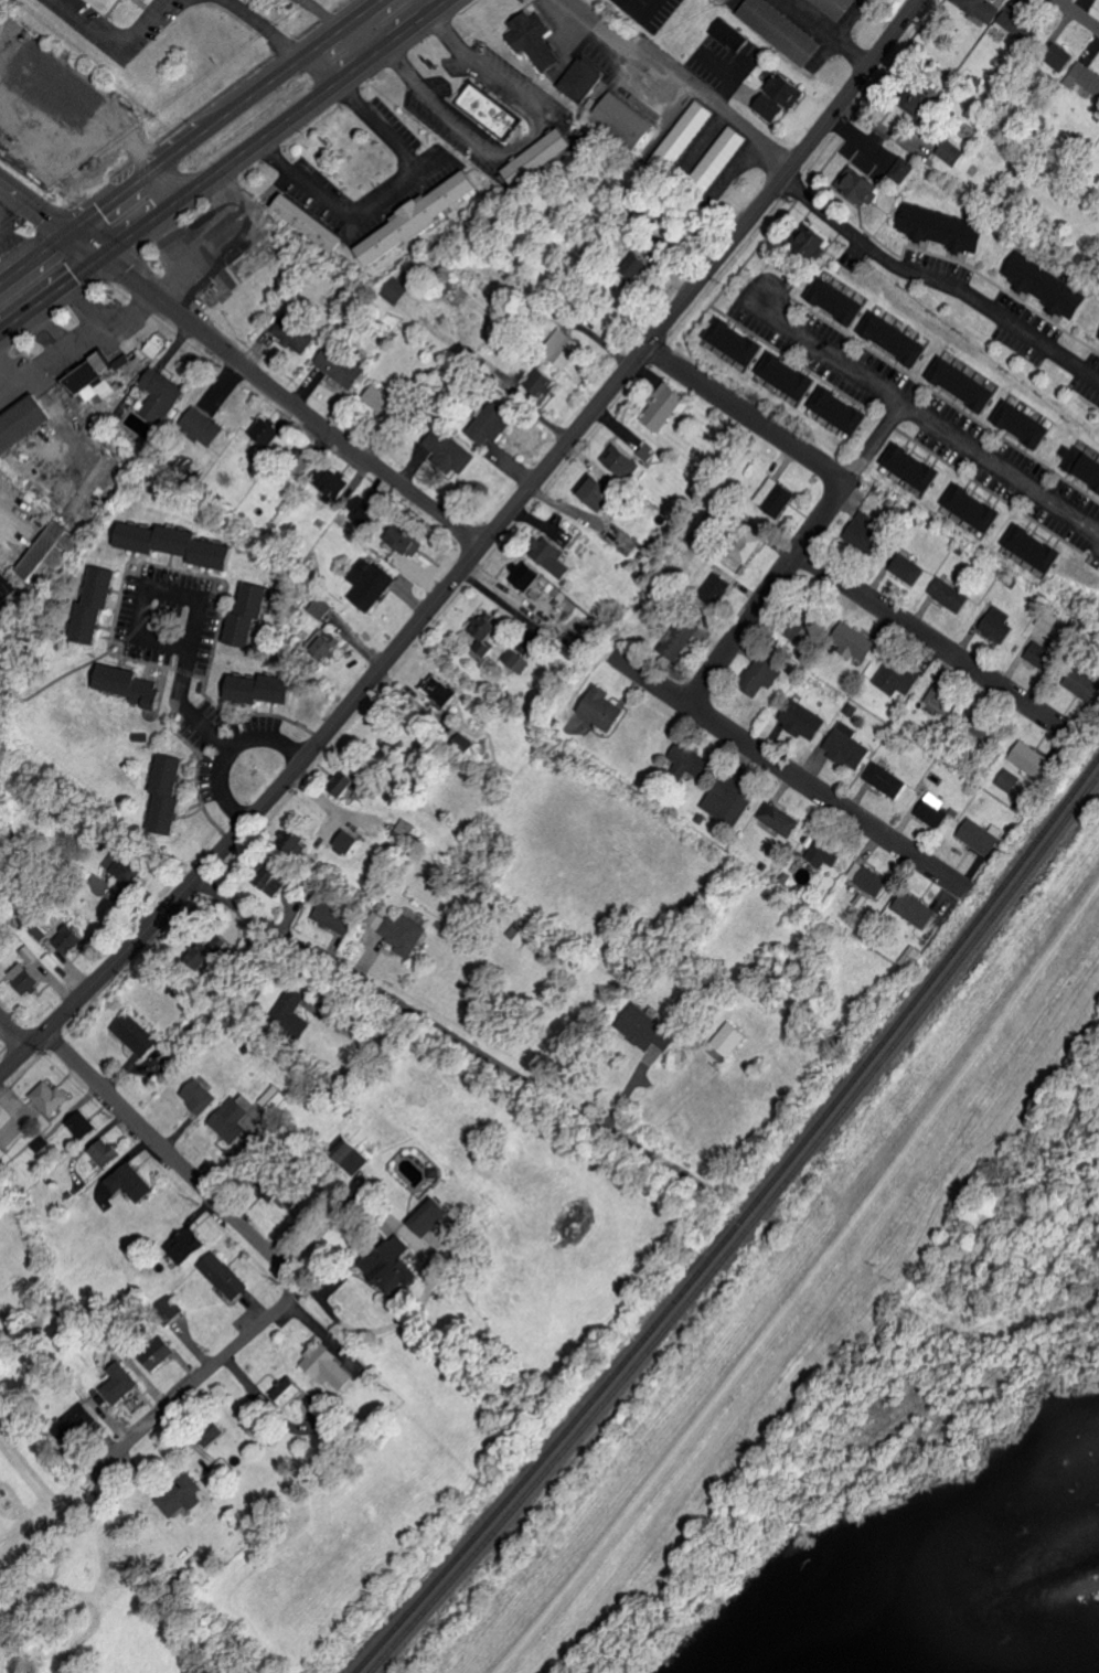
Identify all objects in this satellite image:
building: (837, 7)
building: (980, 9)
road: (1075, 14)
building: (1018, 25)
road: (259, 28)
building: (782, 30)
building: (732, 34)
road: (116, 35)
building: (537, 39)
building: (1060, 55)
building: (583, 79)
building: (1087, 81)
building: (788, 89)
road: (78, 98)
building: (925, 99)
building: (771, 107)
building: (492, 110)
building: (49, 111)
building: (626, 120)
road: (184, 136)
road: (522, 143)
road: (54, 151)
building: (952, 152)
road: (104, 156)
building: (723, 156)
building: (538, 157)
road: (225, 168)
building: (903, 169)
building: (862, 184)
road: (380, 195)
road: (825, 206)
building: (419, 217)
building: (312, 222)
building: (948, 227)
building: (817, 242)
building: (1052, 284)
building: (398, 290)
building: (840, 300)
building: (296, 332)
building: (897, 338)
building: (738, 341)
building: (156, 345)
building: (564, 349)
building: (340, 367)
road: (241, 369)
building: (790, 376)
building: (543, 381)
road: (493, 382)
building: (967, 384)
building: (162, 395)
building: (384, 403)
building: (663, 406)
building: (842, 411)
road: (743, 416)
road: (928, 419)
building: (23, 423)
building: (491, 424)
building: (1026, 424)
building: (204, 426)
building: (265, 436)
road: (868, 441)
building: (449, 449)
building: (630, 460)
building: (1079, 461)
building: (918, 469)
building: (333, 483)
building: (598, 491)
building: (776, 497)
building: (977, 508)
building: (370, 516)
building: (866, 535)
building: (408, 541)
building: (747, 546)
building: (1037, 547)
building: (52, 554)
road: (477, 554)
building: (553, 555)
building: (908, 568)
building: (526, 574)
building: (370, 583)
building: (718, 586)
building: (950, 594)
road: (764, 597)
building: (96, 605)
building: (321, 608)
building: (249, 617)
building: (999, 625)
building: (487, 632)
building: (683, 639)
road: (928, 640)
building: (856, 642)
building: (324, 646)
road: (186, 649)
building: (516, 660)
building: (762, 675)
building: (898, 675)
building: (129, 684)
building: (262, 689)
building: (440, 690)
building: (941, 701)
building: (604, 708)
building: (804, 720)
building: (849, 746)
building: (690, 760)
building: (1032, 760)
road: (783, 769)
building: (886, 779)
building: (1009, 780)
building: (346, 784)
road: (220, 791)
building: (169, 795)
building: (732, 799)
building: (935, 810)
building: (779, 819)
building: (981, 838)
building: (349, 841)
building: (825, 852)
building: (122, 867)
building: (868, 878)
building: (917, 909)
building: (338, 917)
building: (520, 933)
building: (404, 934)
building: (68, 938)
building: (206, 955)
building: (29, 956)
building: (24, 978)
building: (295, 1013)
road: (423, 1014)
building: (650, 1031)
building: (135, 1035)
building: (730, 1040)
road: (10, 1046)
building: (200, 1096)
building: (50, 1097)
building: (275, 1098)
building: (237, 1120)
building: (82, 1126)
building: (106, 1153)
road: (169, 1154)
building: (130, 1182)
building: (431, 1217)
railway: (737, 1223)
railway: (741, 1230)
building: (188, 1246)
building: (394, 1266)
building: (225, 1276)
road: (383, 1330)
road: (320, 1332)
road: (852, 1351)
building: (162, 1357)
building: (329, 1367)
road: (198, 1378)
building: (120, 1384)
building: (297, 1396)
building: (182, 1495)

